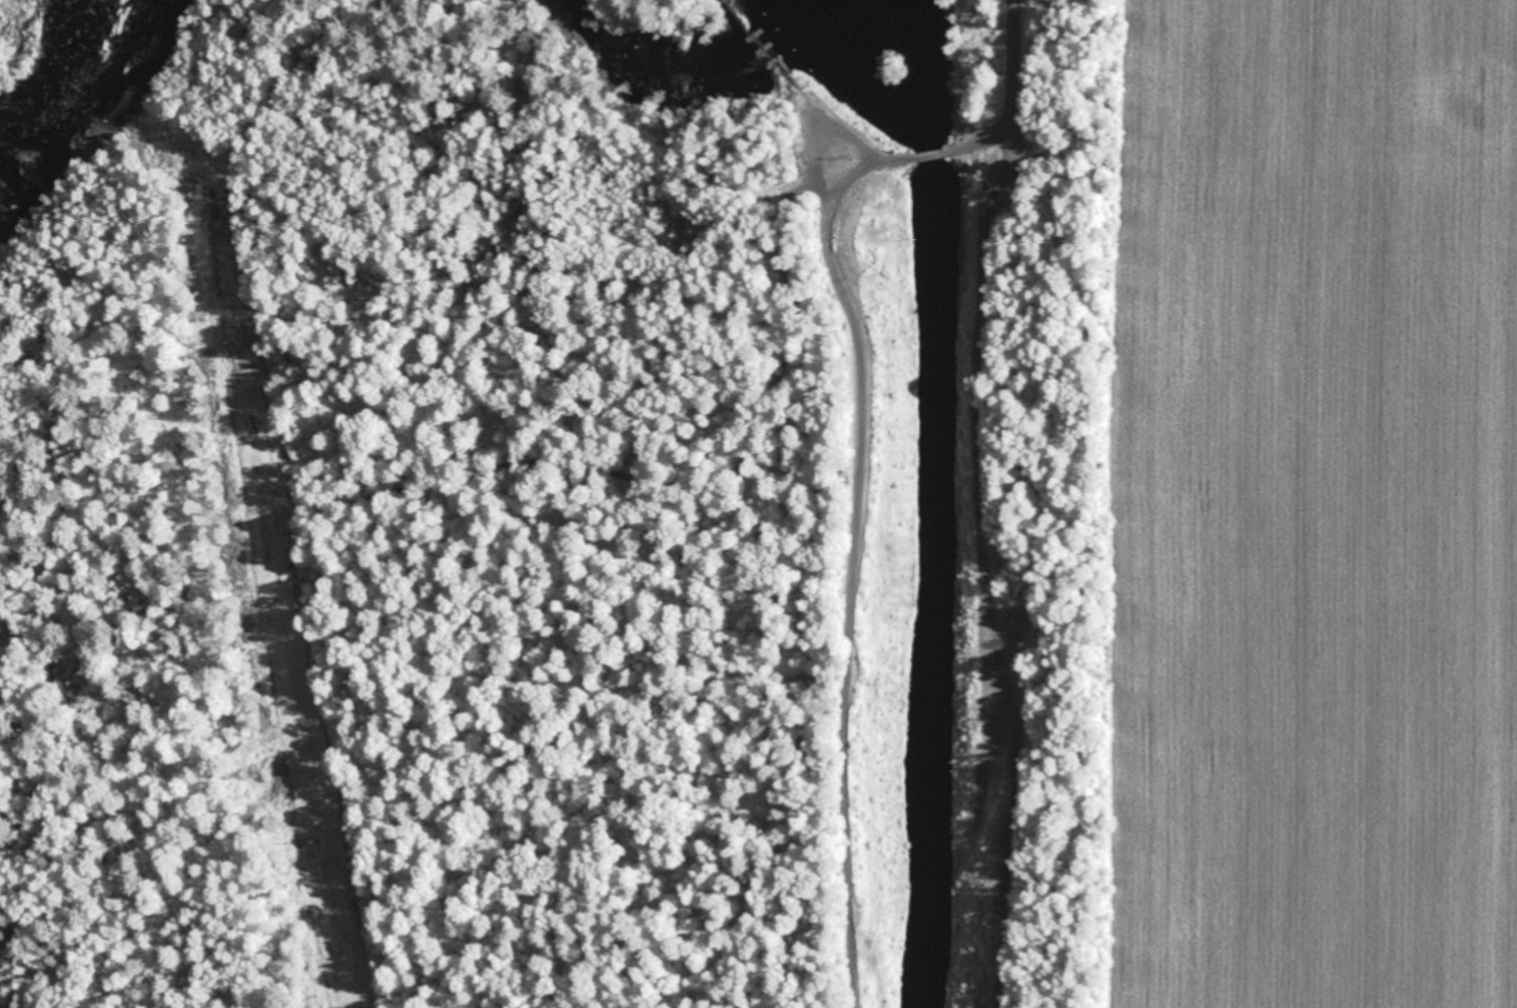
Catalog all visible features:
dam: (760, 42)
river: (61, 84)
road: (816, 134)
road: (983, 141)
road: (920, 155)
road: (1018, 503)
road: (853, 569)

